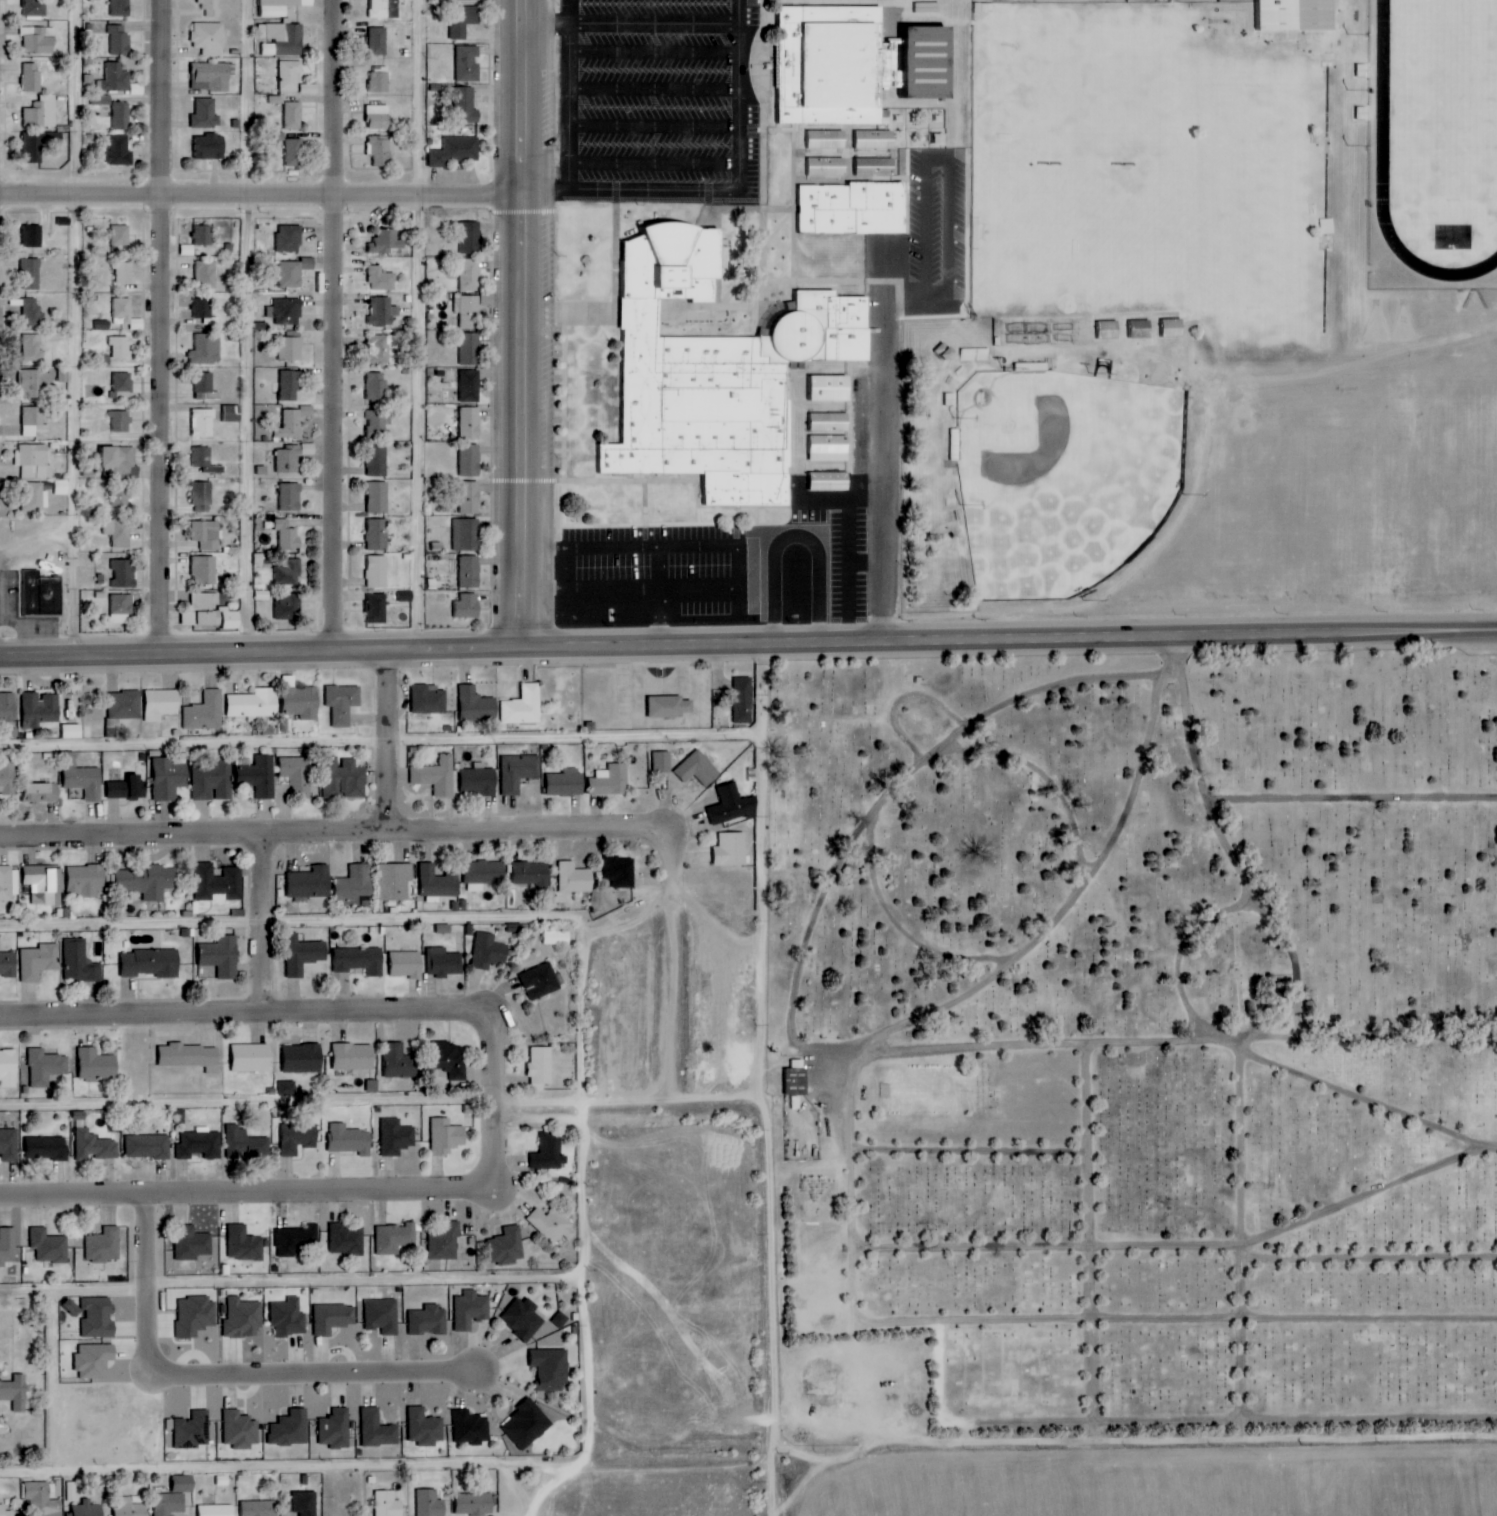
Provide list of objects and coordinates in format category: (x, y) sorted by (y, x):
building: (439, 0)
building: (470, 0)
building: (280, 7)
building: (35, 8)
building: (121, 8)
building: (210, 8)
building: (384, 9)
building: (1288, 14)
building: (464, 20)
building: (209, 38)
building: (120, 39)
building: (282, 39)
building: (38, 40)
building: (378, 41)
building: (468, 63)
building: (864, 67)
building: (211, 76)
building: (291, 76)
building: (32, 77)
building: (115, 78)
building: (380, 79)
park: (1084, 88)
road: (168, 97)
road: (520, 97)
road: (336, 98)
building: (466, 105)
park: (1449, 106)
building: (41, 113)
building: (206, 113)
building: (121, 116)
building: (293, 116)
building: (379, 117)
building: (825, 139)
building: (34, 147)
building: (212, 147)
building: (381, 150)
building: (119, 151)
building: (455, 151)
building: (295, 152)
building: (826, 167)
building: (876, 167)
road: (1384, 181)
road: (208, 196)
road: (469, 196)
park: (1264, 197)
building: (854, 208)
park: (1086, 231)
building: (121, 235)
building: (204, 235)
building: (33, 236)
building: (471, 237)
building: (290, 238)
building: (388, 242)
building: (188, 250)
building: (294, 272)
building: (124, 273)
building: (30, 274)
building: (206, 274)
building: (470, 275)
building: (381, 279)
building: (487, 300)
building: (1345, 304)
building: (203, 310)
building: (468, 310)
building: (286, 312)
building: (383, 312)
building: (32, 313)
building: (125, 313)
road: (254, 326)
road: (420, 327)
road: (79, 328)
building: (1173, 328)
building: (1141, 329)
building: (1109, 330)
building: (120, 347)
building: (33, 348)
building: (291, 349)
building: (380, 349)
building: (470, 349)
building: (206, 350)
building: (717, 374)
building: (36, 383)
building: (122, 385)
building: (290, 385)
building: (471, 386)
building: (206, 387)
building: (376, 387)
building: (829, 388)
building: (233, 414)
building: (380, 419)
building: (33, 421)
building: (121, 421)
road: (155, 422)
building: (831, 422)
building: (203, 423)
building: (291, 423)
building: (470, 423)
road: (520, 423)
road: (342, 425)
road: (890, 442)
building: (829, 449)
building: (291, 457)
building: (34, 461)
building: (206, 461)
building: (377, 461)
building: (471, 461)
building: (120, 463)
park: (1060, 476)
building: (830, 482)
building: (41, 494)
building: (120, 496)
building: (290, 497)
building: (203, 498)
building: (378, 498)
building: (470, 498)
building: (118, 533)
building: (207, 535)
building: (377, 535)
building: (467, 535)
building: (287, 536)
road: (590, 547)
road: (739, 567)
building: (205, 571)
building: (377, 572)
building: (470, 572)
building: (289, 573)
building: (123, 574)
road: (591, 592)
building: (42, 595)
road: (662, 596)
building: (467, 606)
building: (289, 607)
building: (121, 608)
building: (377, 609)
building: (211, 613)
road: (1135, 631)
road: (386, 653)
building: (428, 699)
building: (742, 700)
building: (301, 703)
building: (343, 703)
building: (161, 704)
building: (254, 704)
building: (125, 705)
building: (476, 706)
building: (523, 706)
building: (7, 707)
building: (669, 707)
building: (38, 710)
building: (206, 712)
building: (71, 731)
road: (385, 741)
road: (387, 742)
road: (1074, 743)
building: (662, 762)
building: (696, 768)
building: (518, 772)
building: (297, 774)
building: (257, 775)
building: (436, 776)
building: (7, 778)
building: (82, 778)
building: (170, 778)
building: (213, 781)
building: (345, 781)
building: (478, 781)
building: (610, 781)
building: (565, 783)
building: (136, 788)
building: (118, 790)
building: (43, 793)
road: (1215, 794)
road: (1356, 796)
building: (726, 805)
road: (353, 832)
building: (726, 849)
building: (618, 873)
building: (481, 874)
building: (531, 874)
road: (255, 877)
building: (574, 879)
building: (86, 881)
building: (147, 882)
building: (394, 882)
building: (8, 883)
building: (218, 883)
building: (310, 883)
building: (437, 884)
building: (44, 885)
building: (354, 885)
road: (823, 919)
road: (378, 920)
road: (635, 920)
road: (924, 934)
building: (556, 938)
road: (1162, 949)
building: (488, 952)
building: (304, 957)
building: (220, 959)
building: (360, 961)
building: (38, 962)
building: (443, 963)
building: (8, 964)
building: (79, 964)
building: (151, 964)
building: (406, 965)
road: (255, 968)
building: (539, 981)
road: (679, 981)
road: (1314, 1000)
road: (1281, 1001)
road: (338, 1013)
road: (902, 1031)
road: (1429, 1037)
road: (1303, 1040)
road: (1060, 1045)
building: (190, 1056)
building: (354, 1057)
building: (251, 1058)
building: (303, 1058)
building: (452, 1061)
building: (400, 1062)
building: (97, 1065)
building: (536, 1065)
building: (45, 1067)
building: (8, 1068)
building: (789, 1079)
building: (287, 1088)
road: (1369, 1099)
road: (385, 1102)
road: (771, 1104)
building: (180, 1116)
building: (396, 1137)
building: (446, 1137)
building: (299, 1138)
building: (350, 1140)
building: (201, 1144)
building: (246, 1144)
building: (9, 1145)
building: (95, 1147)
building: (148, 1147)
building: (47, 1148)
building: (546, 1151)
road: (978, 1153)
road: (579, 1163)
road: (253, 1192)
building: (552, 1224)
building: (347, 1238)
building: (395, 1238)
building: (297, 1239)
road: (1246, 1241)
building: (445, 1242)
building: (192, 1243)
building: (244, 1243)
road: (1097, 1243)
building: (7, 1245)
building: (103, 1245)
building: (507, 1245)
building: (49, 1246)
road: (1186, 1248)
road: (1372, 1259)
road: (142, 1279)
road: (289, 1285)
building: (470, 1309)
building: (94, 1315)
building: (195, 1315)
building: (382, 1315)
building: (289, 1317)
building: (242, 1318)
building: (333, 1318)
building: (524, 1318)
road: (1179, 1319)
building: (428, 1320)
building: (94, 1360)
building: (551, 1368)
road: (309, 1373)
road: (50, 1380)
building: (15, 1392)
road: (589, 1406)
building: (527, 1423)
building: (425, 1427)
building: (471, 1427)
building: (240, 1429)
building: (290, 1429)
building: (335, 1429)
building: (377, 1429)
building: (193, 1430)
power substation: (104, 1432)
road: (976, 1444)
power tower: (105, 1464)
road: (304, 1466)
road: (25, 1470)
road: (781, 1477)
building: (184, 1483)
building: (71, 1491)
building: (43, 1499)
building: (305, 1503)
building: (430, 1503)
building: (169, 1504)
building: (387, 1504)
building: (475, 1504)
building: (129, 1507)
building: (260, 1508)
building: (88, 1509)
building: (215, 1510)
building: (6, 1511)

